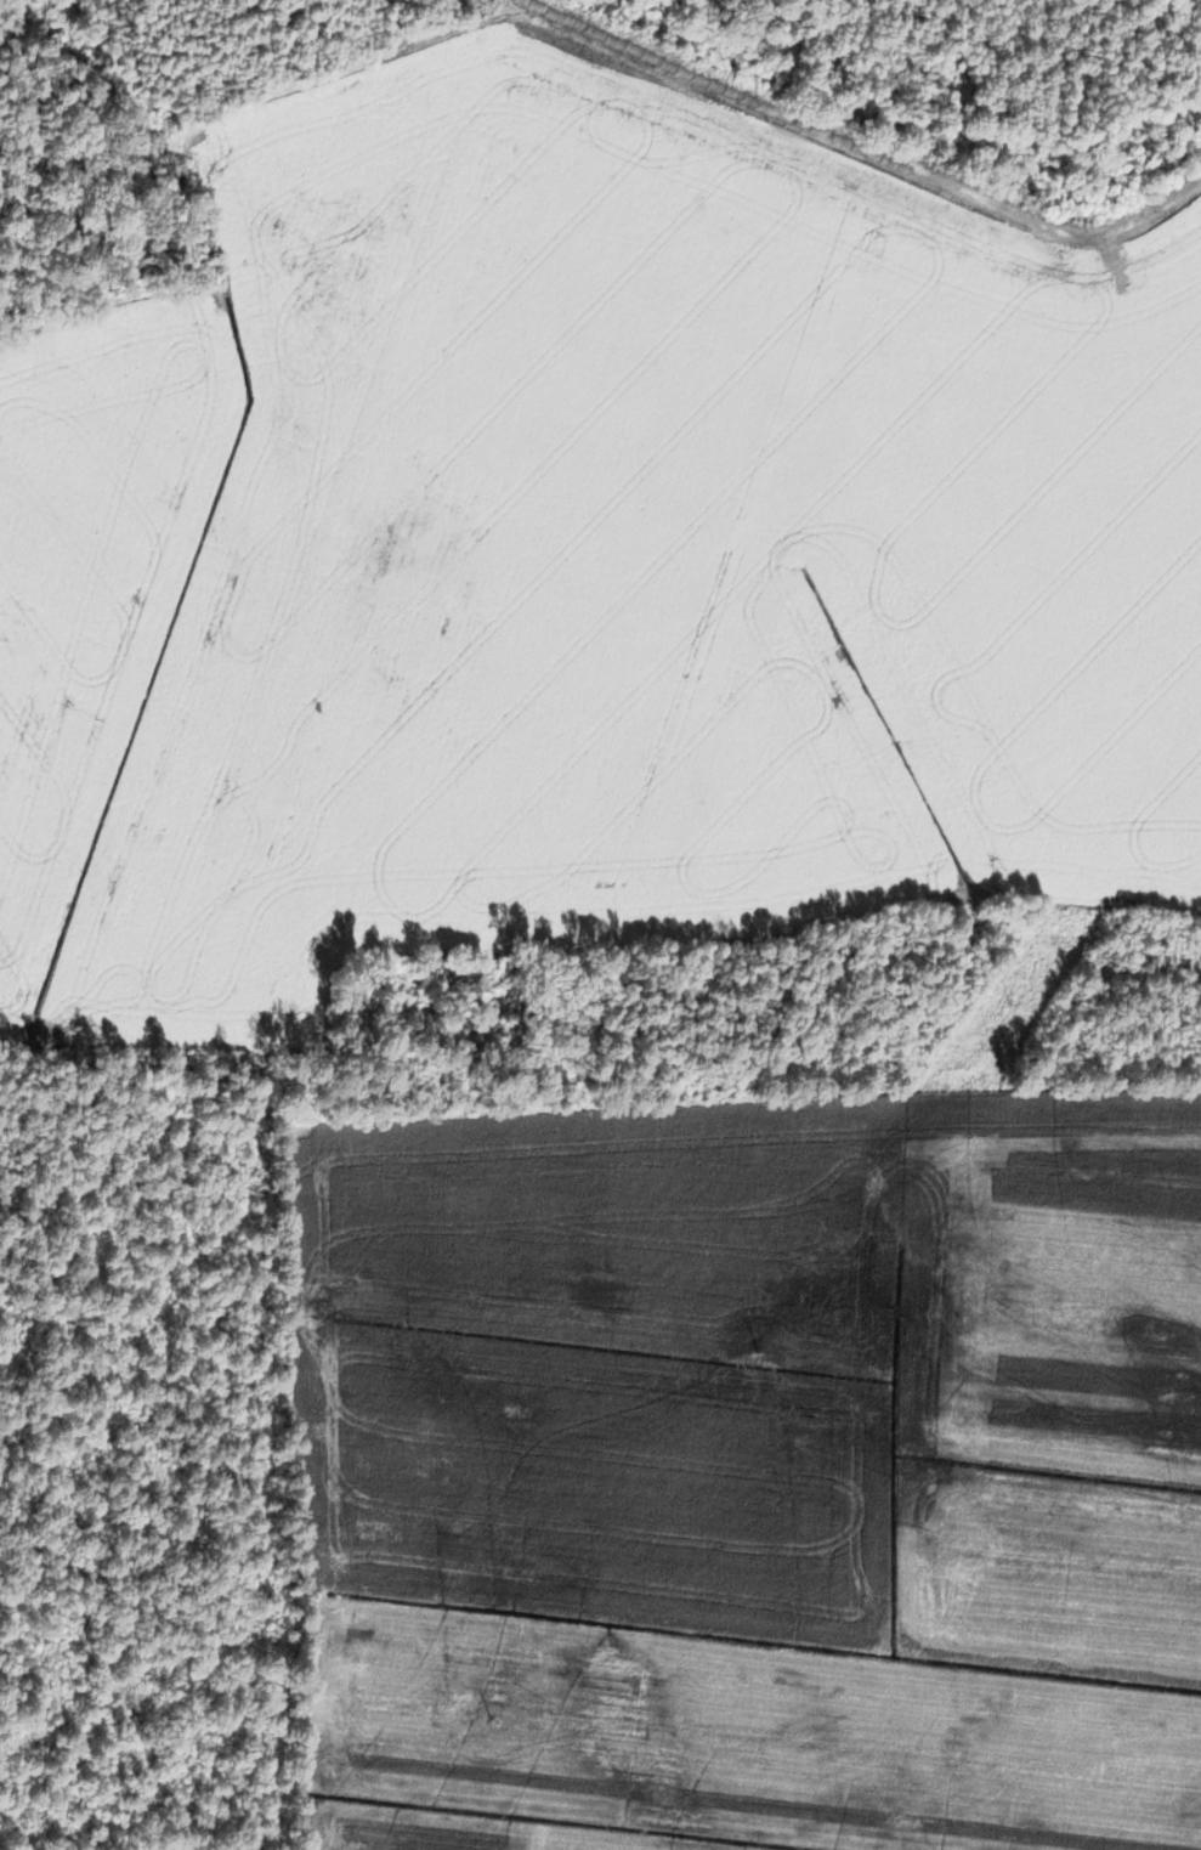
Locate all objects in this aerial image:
road: (862, 154)

